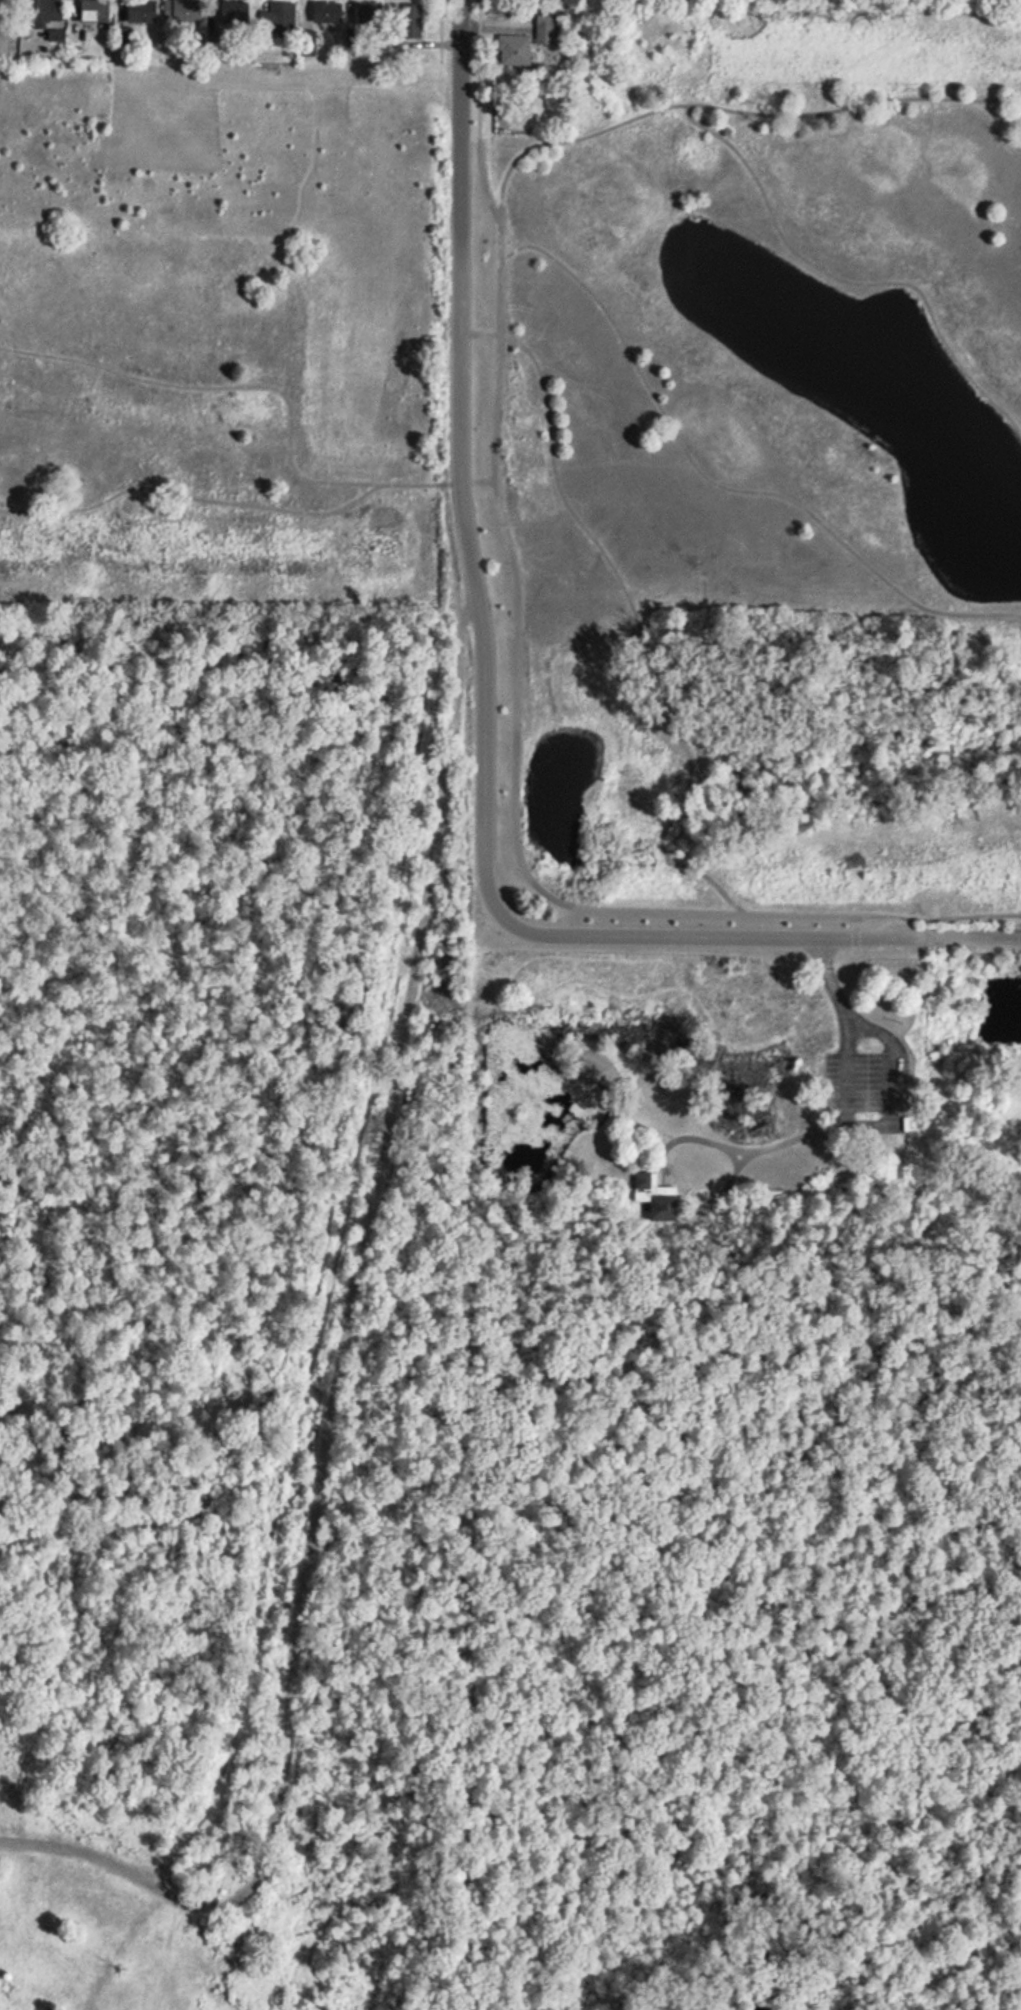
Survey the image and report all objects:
building: (183, 11)
building: (236, 11)
building: (46, 12)
building: (142, 12)
building: (329, 12)
building: (369, 15)
building: (279, 17)
building: (90, 18)
building: (414, 20)
building: (549, 25)
road: (0, 31)
building: (516, 51)
road: (461, 65)
road: (653, 111)
road: (846, 281)
road: (106, 368)
park: (586, 401)
road: (495, 424)
road: (458, 469)
road: (301, 475)
road: (718, 485)
road: (193, 498)
road: (621, 579)
road: (664, 851)
road: (778, 915)
road: (766, 933)
road: (831, 984)
road: (869, 1027)
parking lot: (863, 1092)
road: (865, 1107)
road: (871, 1127)
road: (729, 1150)
road: (734, 1157)
road: (724, 1186)
building: (652, 1192)
park: (477, 1375)
road: (316, 1413)
road: (147, 1950)

